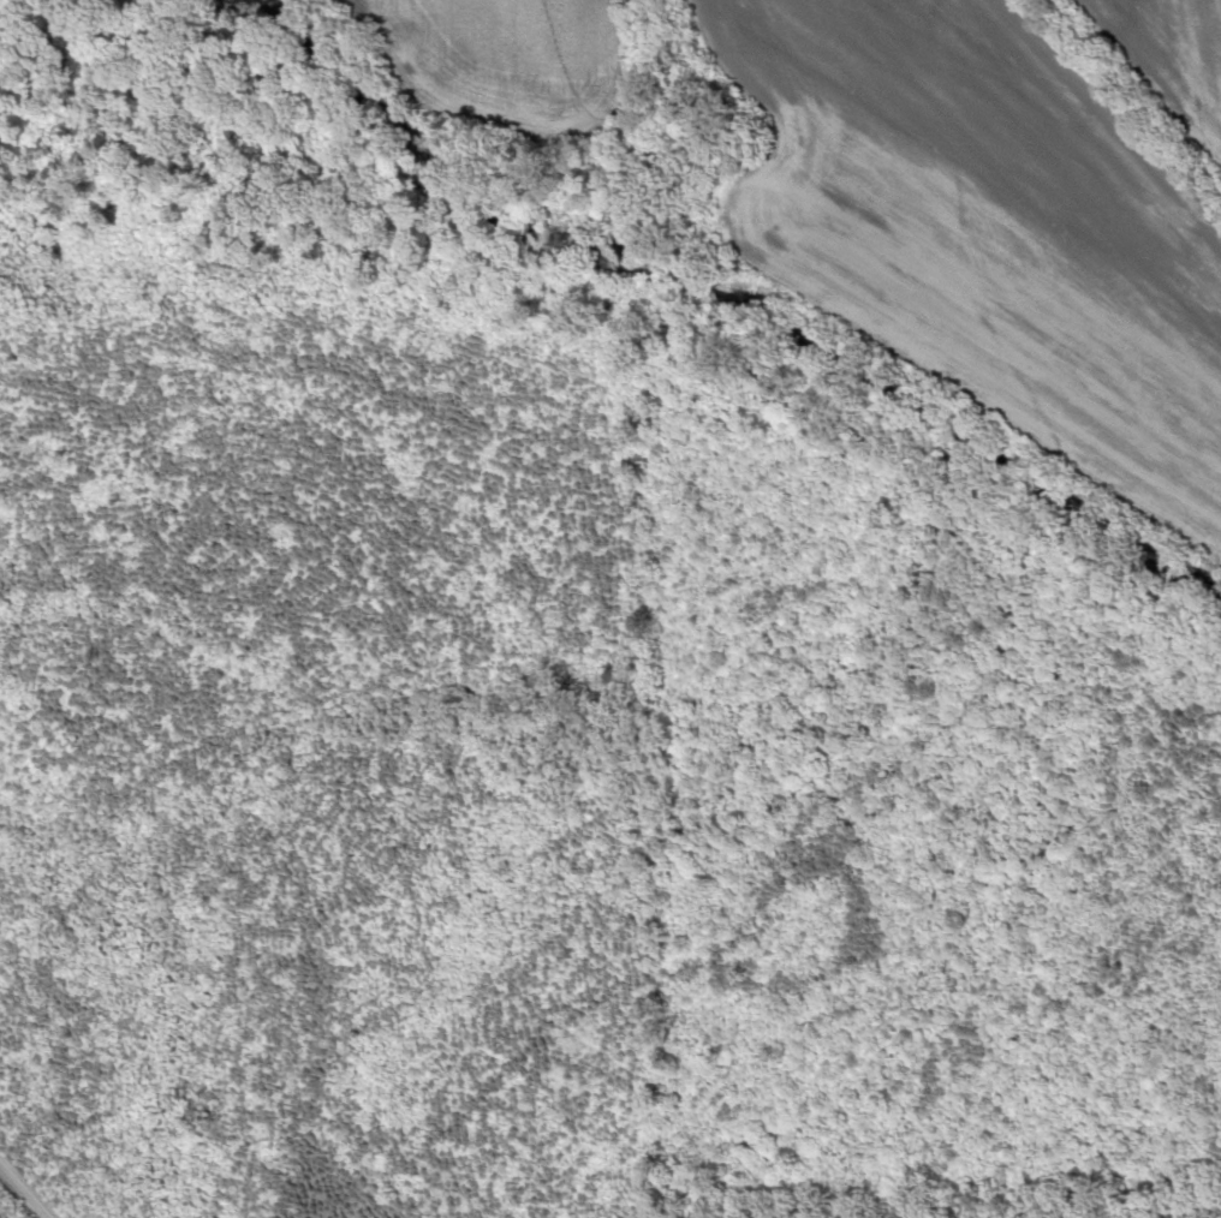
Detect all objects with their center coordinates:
road: (25, 1192)

